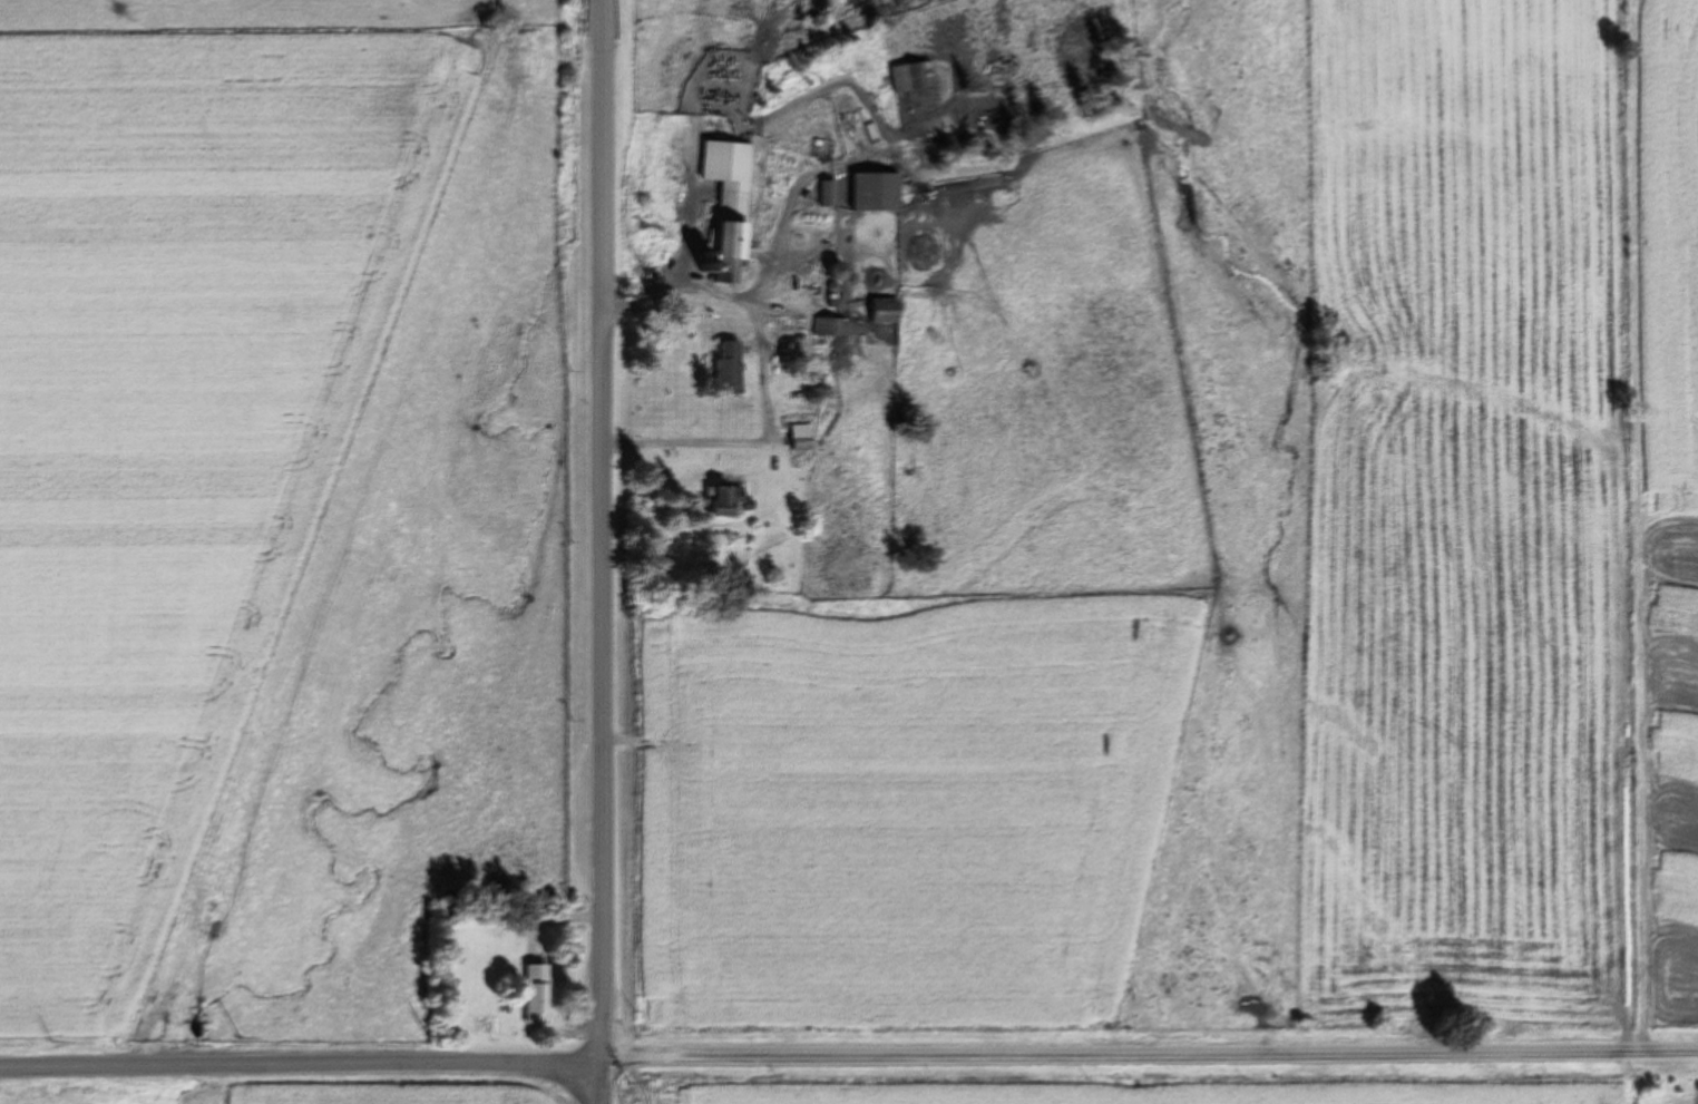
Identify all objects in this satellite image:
building: (900, 79)
building: (877, 193)
building: (731, 204)
road: (790, 207)
road: (691, 216)
building: (726, 370)
road: (761, 374)
building: (801, 434)
building: (720, 500)
building: (748, 506)
road: (603, 533)
building: (538, 993)
road: (1150, 1055)
road: (301, 1066)
road: (602, 1085)

